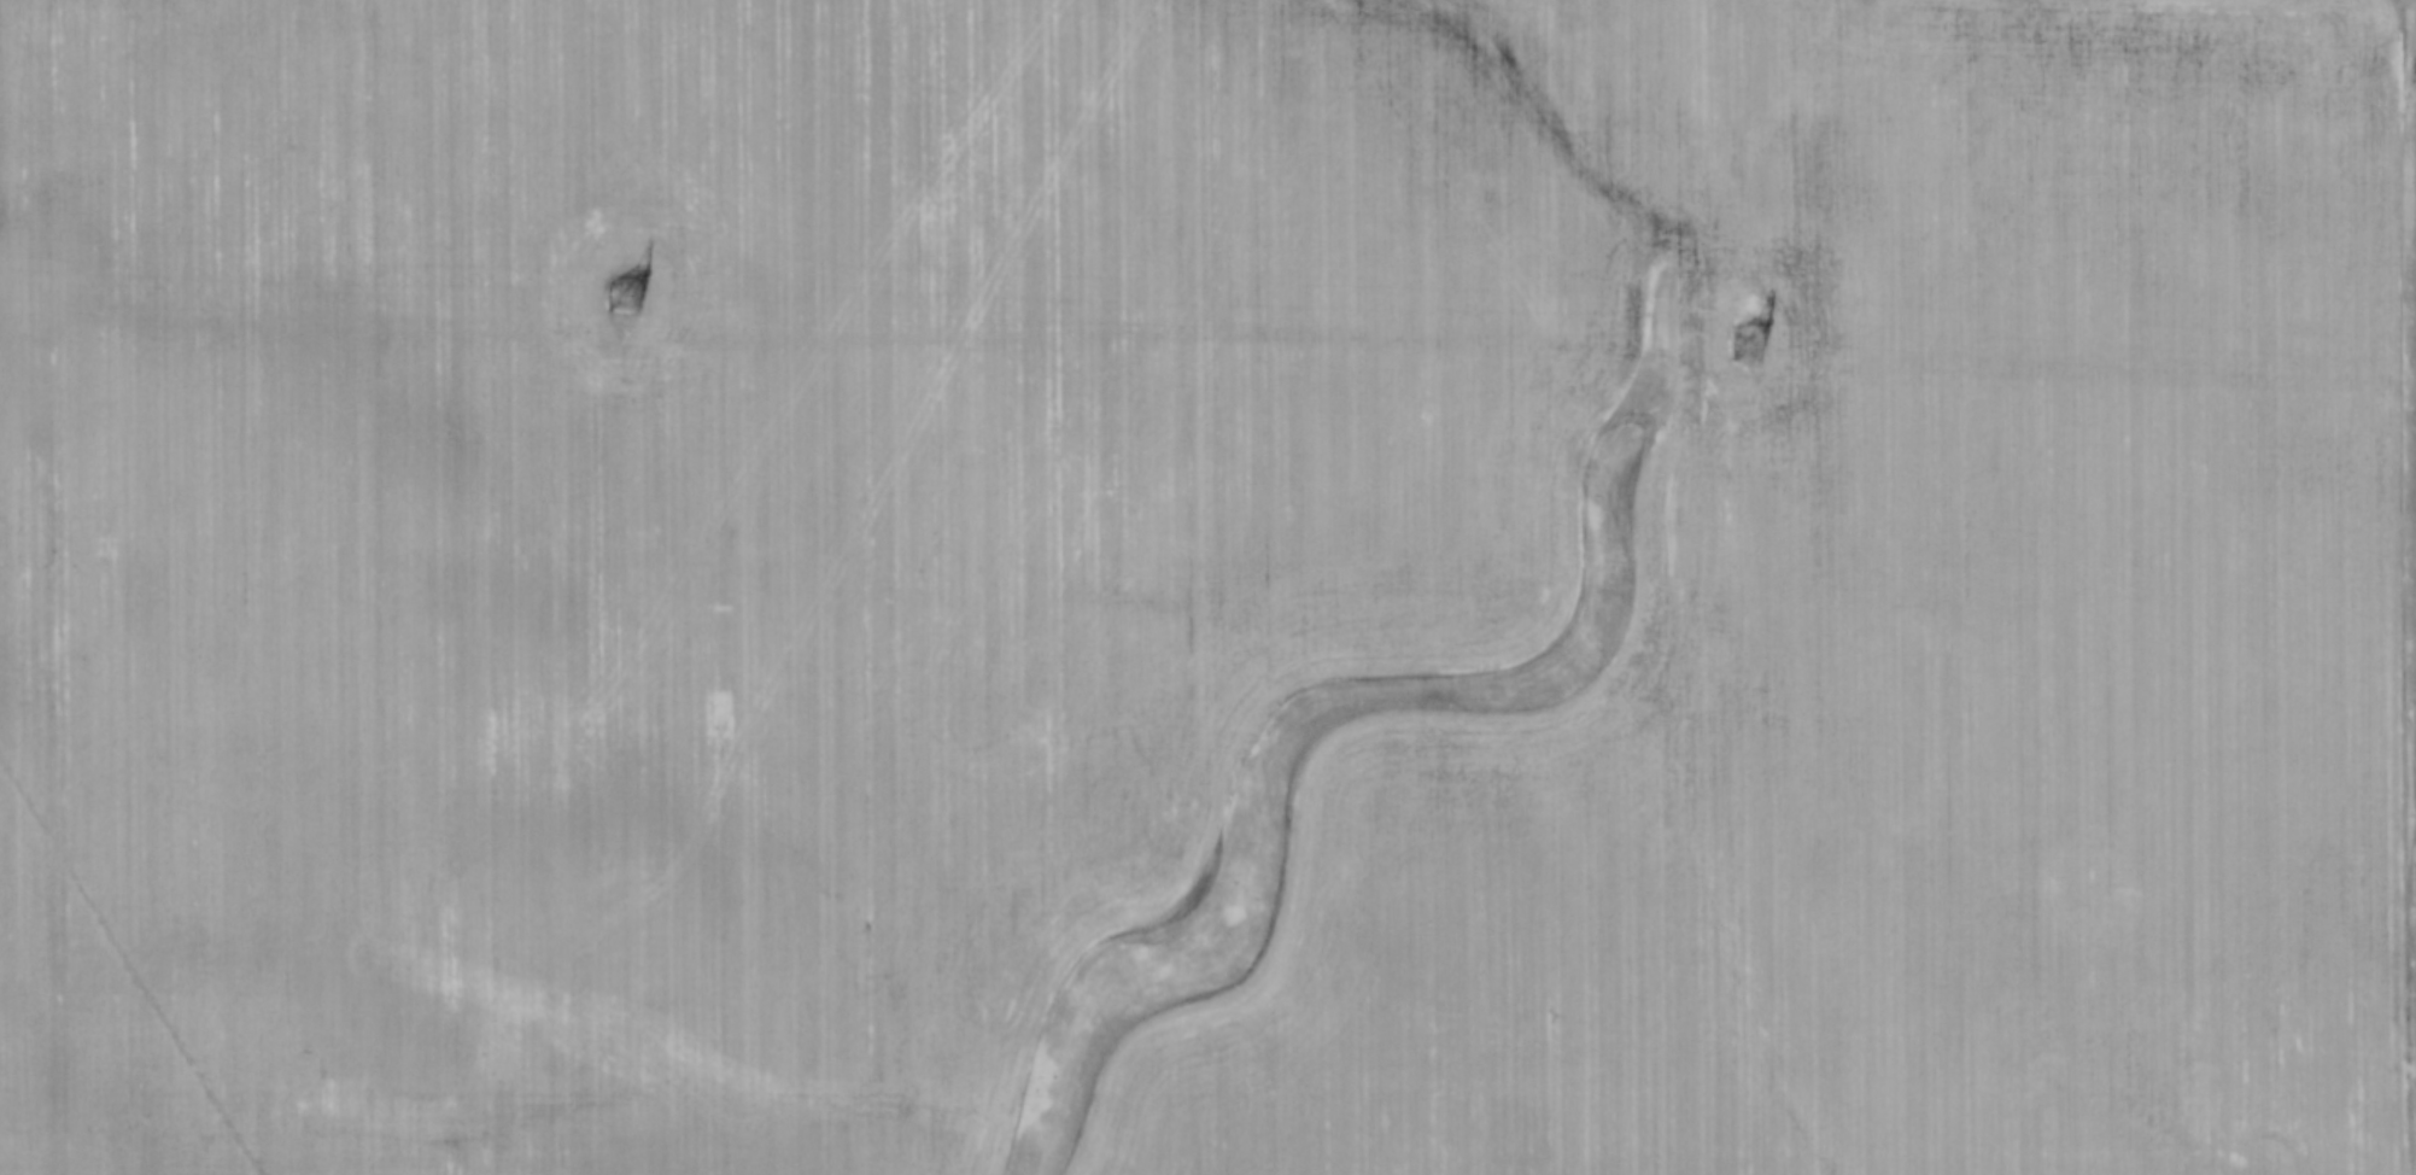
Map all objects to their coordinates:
power tower: (643, 294)
power tower: (1803, 298)

